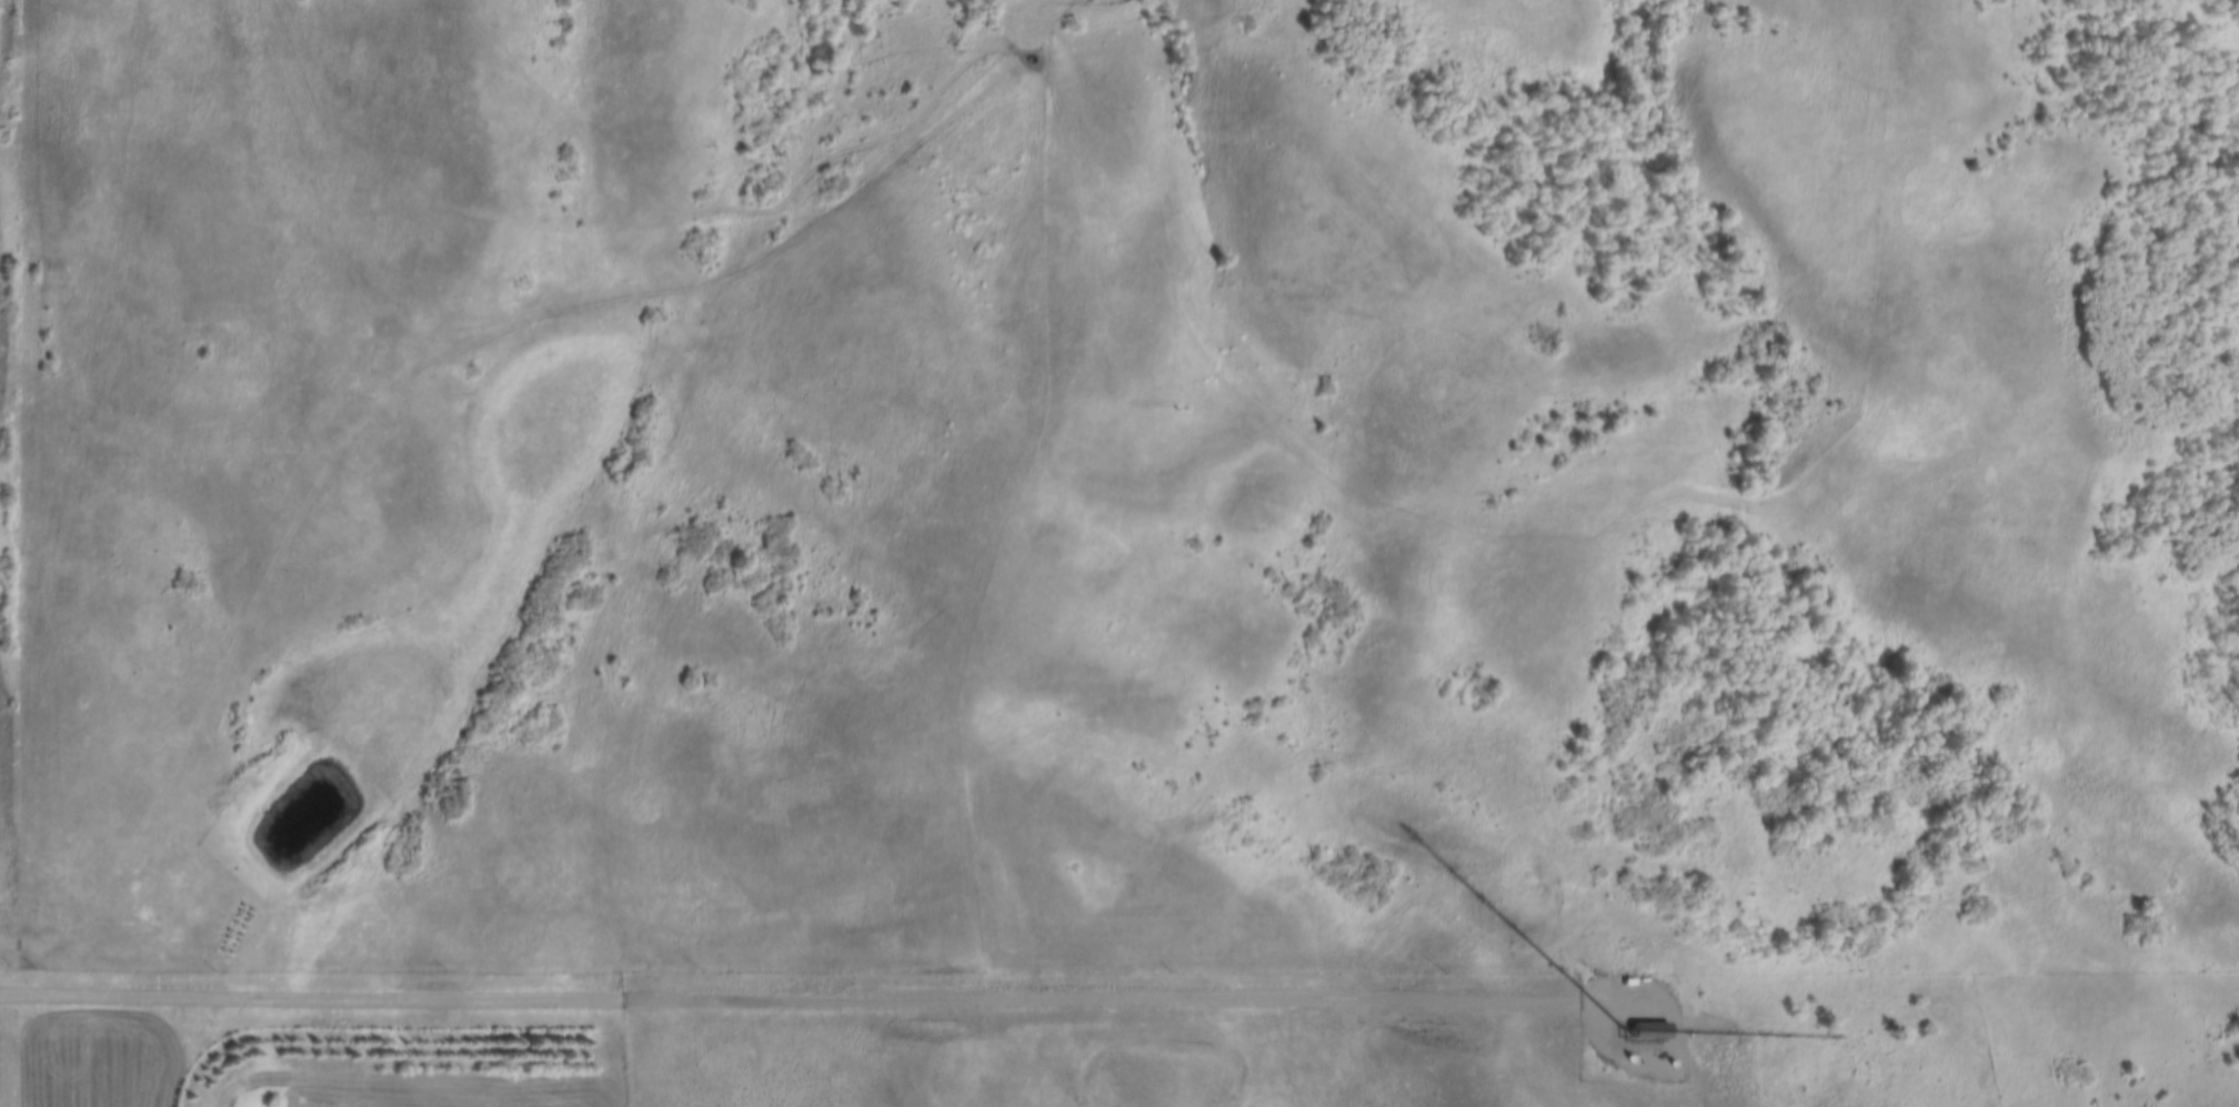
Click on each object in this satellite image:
building: (1629, 982)
road: (793, 1004)
building: (1648, 1030)

